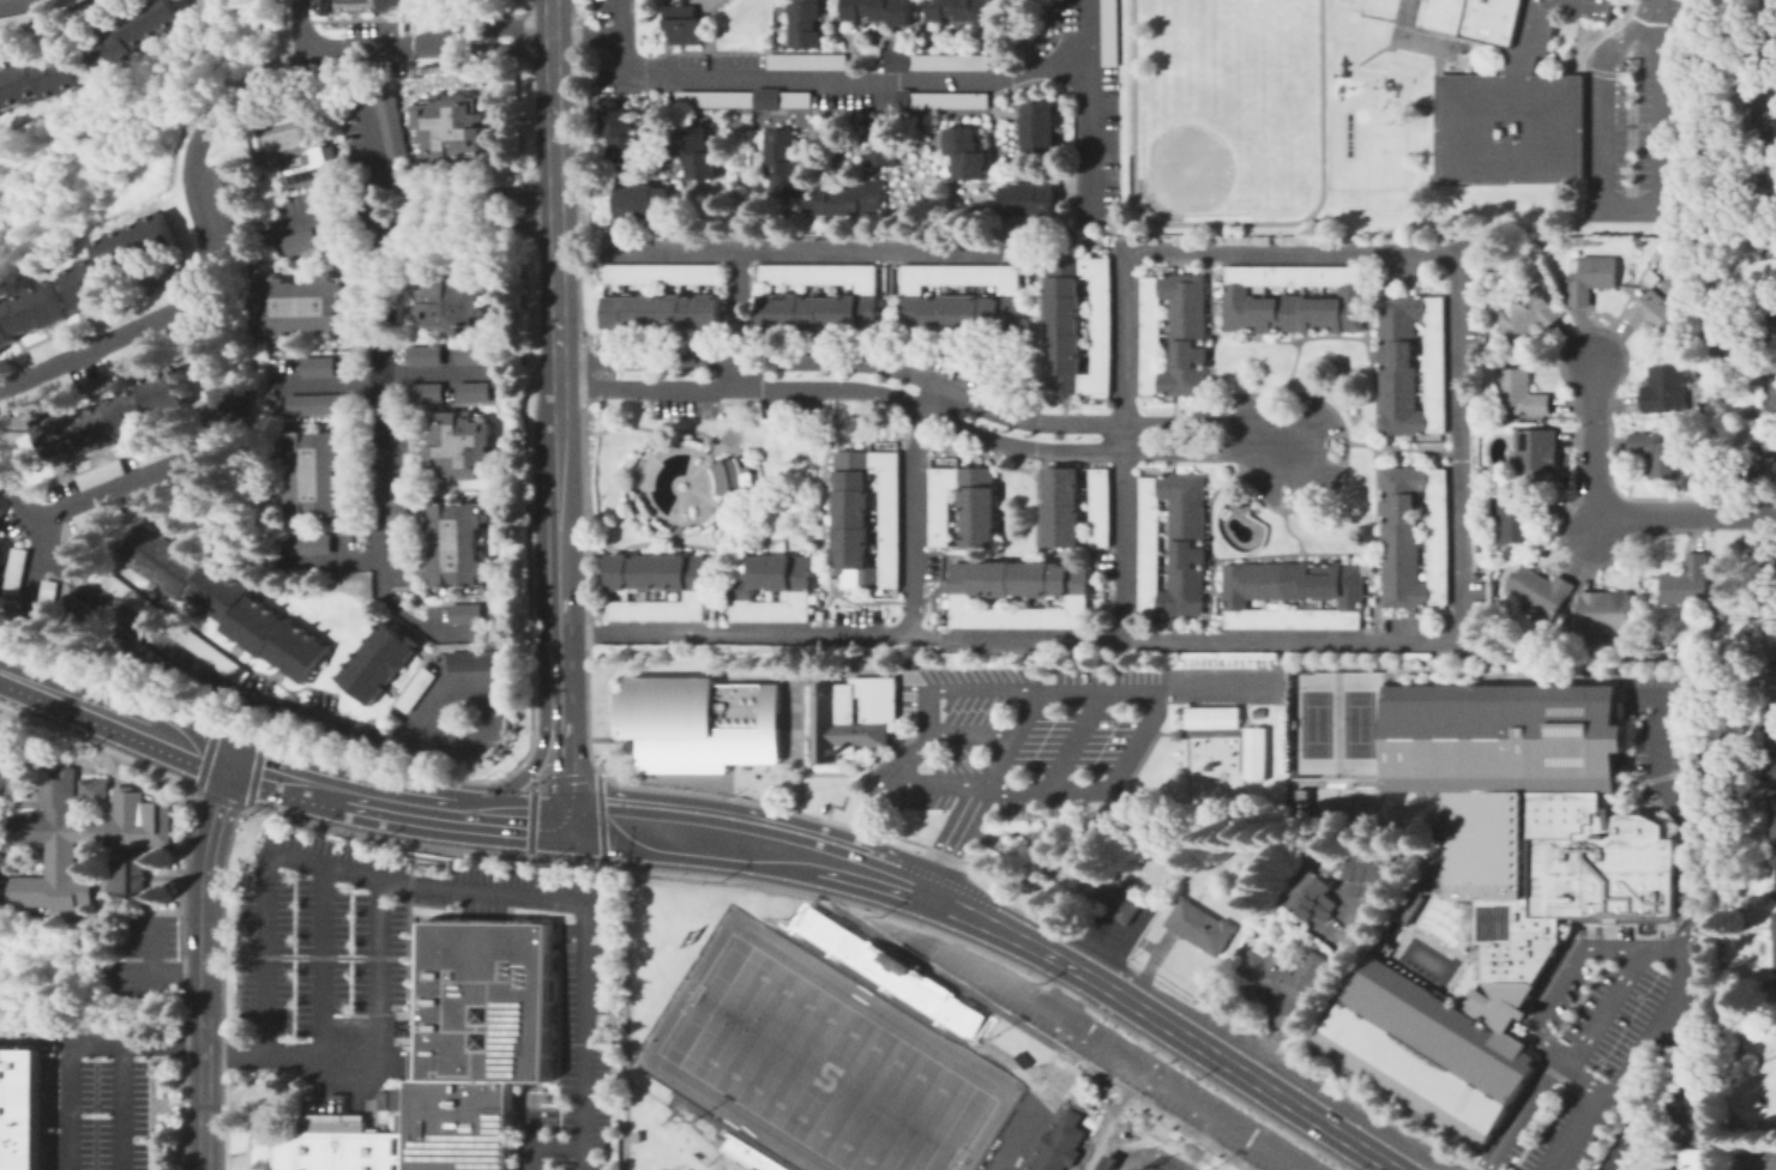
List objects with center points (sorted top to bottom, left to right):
park: (1413, 0)
road: (12, 1)
building: (64, 2)
park: (1408, 2)
building: (401, 4)
building: (319, 5)
building: (1764, 5)
building: (881, 11)
building: (963, 11)
building: (1440, 14)
park: (1404, 17)
building: (13, 18)
building: (1489, 19)
building: (803, 23)
building: (685, 24)
road: (486, 29)
building: (132, 30)
building: (1112, 34)
road: (584, 36)
park: (1420, 42)
flagpole: (1572, 44)
road: (337, 47)
road: (487, 48)
park: (1233, 52)
building: (1766, 55)
building: (809, 61)
building: (937, 62)
building: (35, 74)
road: (818, 78)
track: (1319, 90)
building: (746, 99)
building: (940, 99)
road: (1083, 108)
building: (1512, 109)
building: (1765, 111)
parking lot: (1634, 116)
building: (390, 121)
park: (1226, 121)
building: (446, 125)
building: (1036, 129)
road: (374, 134)
building: (624, 137)
building: (881, 146)
building: (699, 153)
building: (968, 153)
building: (783, 163)
building: (308, 165)
road: (399, 181)
road: (483, 191)
building: (1766, 194)
building: (843, 199)
building: (1029, 200)
building: (644, 203)
building: (228, 206)
road: (1619, 210)
road: (483, 215)
road: (313, 216)
building: (800, 224)
building: (296, 239)
building: (1638, 242)
road: (807, 249)
road: (210, 255)
building: (122, 258)
road: (1447, 260)
building: (1754, 265)
road: (552, 266)
building: (666, 275)
building: (1294, 277)
building: (1591, 278)
building: (1651, 278)
building: (836, 285)
building: (300, 301)
building: (447, 301)
building: (137, 307)
building: (1771, 312)
building: (809, 313)
building: (1298, 313)
building: (26, 314)
building: (667, 314)
building: (959, 314)
building: (1011, 314)
building: (1527, 315)
building: (1658, 316)
road: (735, 318)
building: (1064, 326)
building: (1102, 327)
building: (1176, 336)
building: (55, 344)
building: (1740, 344)
building: (136, 346)
building: (469, 351)
building: (421, 352)
building: (315, 363)
building: (1414, 366)
road: (914, 374)
building: (1, 375)
road: (384, 375)
building: (494, 376)
building: (469, 388)
building: (422, 390)
building: (1667, 391)
building: (40, 392)
building: (1522, 394)
parking lot: (685, 397)
building: (239, 399)
building: (314, 400)
road: (909, 403)
building: (1772, 406)
building: (110, 415)
road: (1282, 416)
road: (1593, 433)
building: (456, 444)
parking lot: (1288, 450)
building: (155, 451)
road: (185, 454)
building: (1658, 454)
building: (1537, 456)
building: (1759, 462)
road: (377, 470)
building: (309, 471)
building: (97, 474)
building: (733, 477)
building: (173, 482)
building: (1102, 508)
building: (1064, 509)
building: (392, 511)
building: (0, 513)
building: (96, 514)
road: (1690, 514)
building: (1519, 515)
building: (980, 517)
building: (943, 518)
building: (855, 520)
building: (892, 520)
road: (1602, 521)
building: (1416, 537)
building: (451, 539)
building: (312, 542)
building: (1175, 545)
building: (1509, 553)
building: (1, 555)
road: (327, 557)
building: (13, 569)
building: (1762, 569)
building: (649, 572)
building: (698, 574)
building: (771, 574)
building: (803, 578)
road: (28, 579)
building: (1021, 580)
building: (1079, 581)
building: (1690, 583)
building: (1542, 593)
building: (1295, 596)
building: (131, 597)
building: (221, 599)
road: (559, 601)
building: (46, 602)
building: (82, 610)
building: (462, 611)
building: (1608, 613)
road: (855, 632)
building: (1771, 632)
road: (1035, 638)
road: (170, 649)
building: (213, 653)
building: (474, 661)
building: (153, 663)
building: (375, 663)
road: (26, 681)
road: (1212, 684)
road: (1001, 688)
building: (413, 689)
building: (1770, 693)
road: (488, 698)
building: (1254, 710)
building: (849, 712)
road: (247, 713)
building: (1211, 717)
building: (699, 722)
park: (1313, 723)
park: (1356, 723)
road: (239, 725)
road: (140, 728)
road: (971, 734)
parking lot: (1040, 735)
road: (210, 736)
road: (1073, 742)
road: (561, 746)
road: (1131, 746)
building: (1772, 752)
road: (257, 753)
building: (1253, 753)
parking lot: (5, 760)
road: (535, 764)
traffic signals: (229, 765)
road: (287, 782)
building: (1301, 800)
park: (1344, 804)
road: (399, 808)
building: (1774, 816)
road: (507, 819)
traffic signals: (562, 824)
building: (76, 836)
road: (693, 837)
building: (1368, 868)
parking lot: (1, 869)
road: (874, 873)
building: (1775, 874)
building: (124, 875)
building: (1499, 881)
road: (456, 891)
building: (1311, 893)
building: (1115, 897)
building: (1408, 900)
road: (977, 916)
building: (1197, 923)
building: (1772, 941)
road: (150, 945)
road: (1437, 945)
road: (1649, 951)
parking lot: (146, 960)
road: (320, 963)
parking lot: (323, 964)
road: (205, 965)
building: (1281, 969)
parking lot: (1624, 970)
road: (158, 972)
road: (1328, 981)
road: (1106, 985)
building: (1775, 990)
road: (1065, 991)
road: (1602, 1011)
road: (1274, 1025)
road: (82, 1050)
stadium: (830, 1053)
road: (375, 1054)
building: (448, 1059)
road: (1127, 1060)
park: (823, 1068)
road: (1630, 1068)
road: (1575, 1075)
parking lot: (1157, 1080)
building: (1085, 1091)
building: (395, 1097)
building: (380, 1098)
parking lot: (96, 1100)
road: (1287, 1102)
building: (18, 1108)
road: (106, 1110)
parking lot: (1679, 1112)
road: (1109, 1117)
road: (1680, 1128)
building: (634, 1138)
road: (528, 1141)
building: (1058, 1142)
road: (554, 1145)
road: (1612, 1146)
parking lot: (1626, 1146)
building: (1696, 1147)
parking lot: (1753, 1158)
building: (1103, 1163)
park: (1148, 1168)

